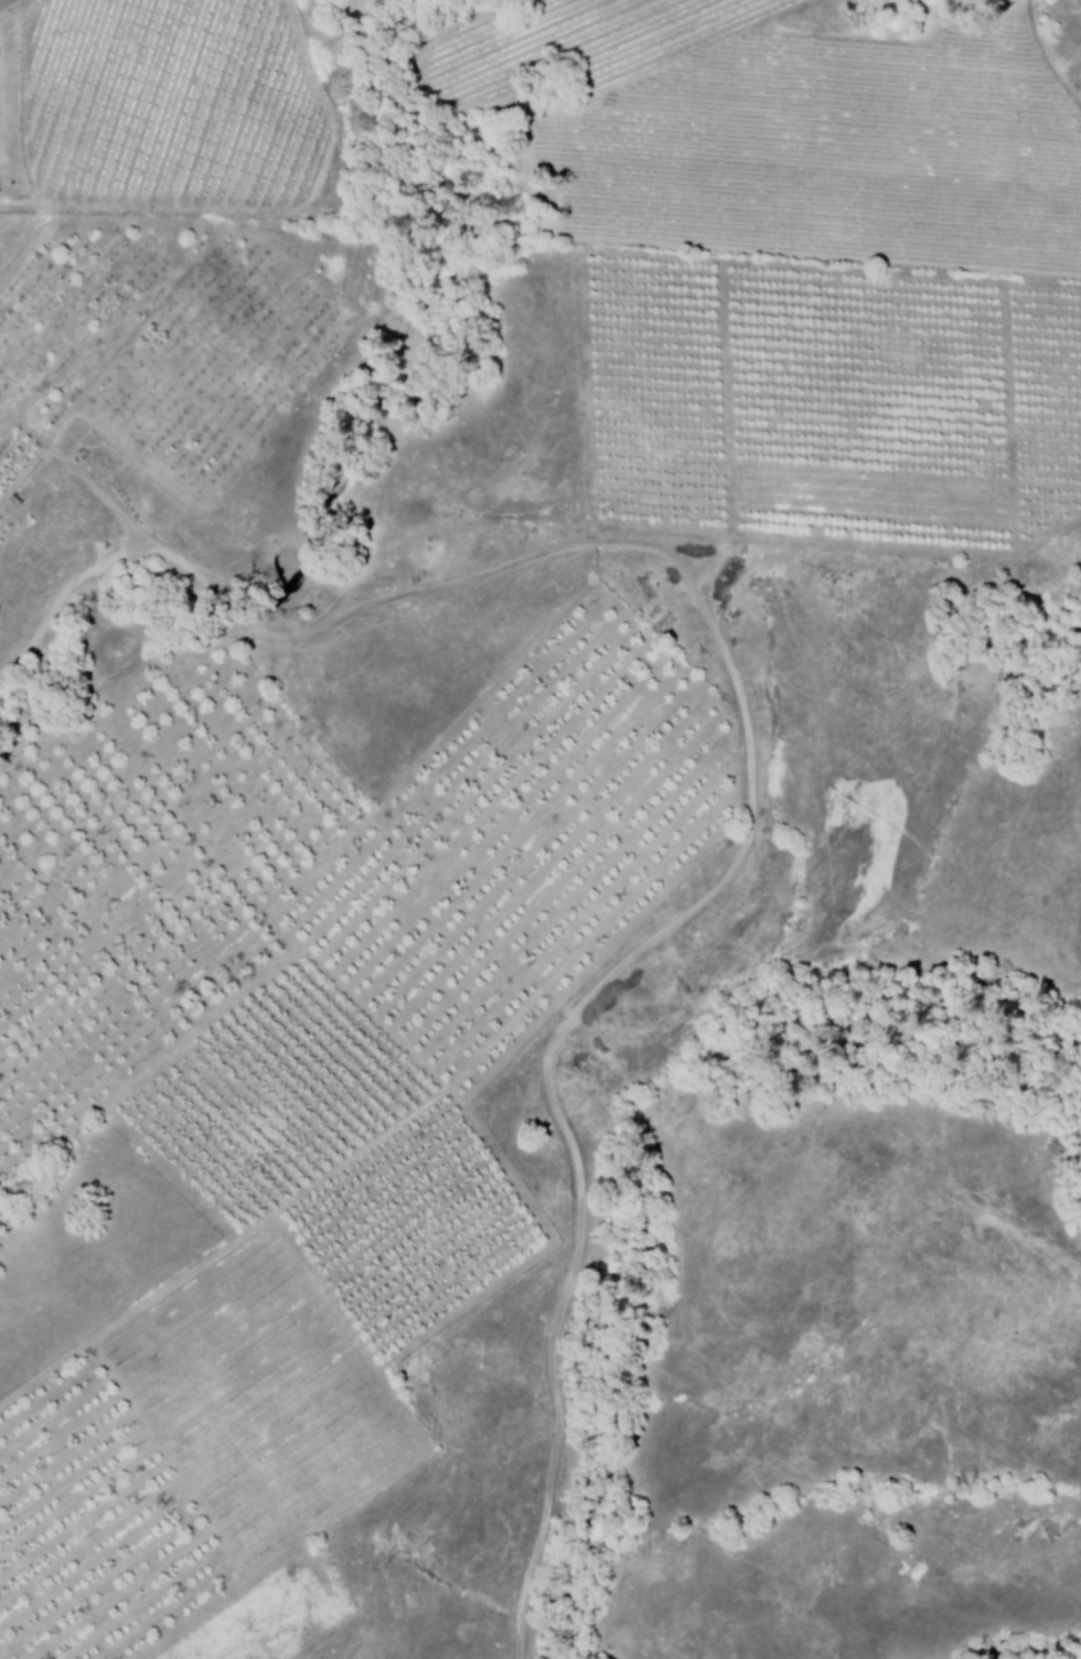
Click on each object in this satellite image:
road: (628, 809)

